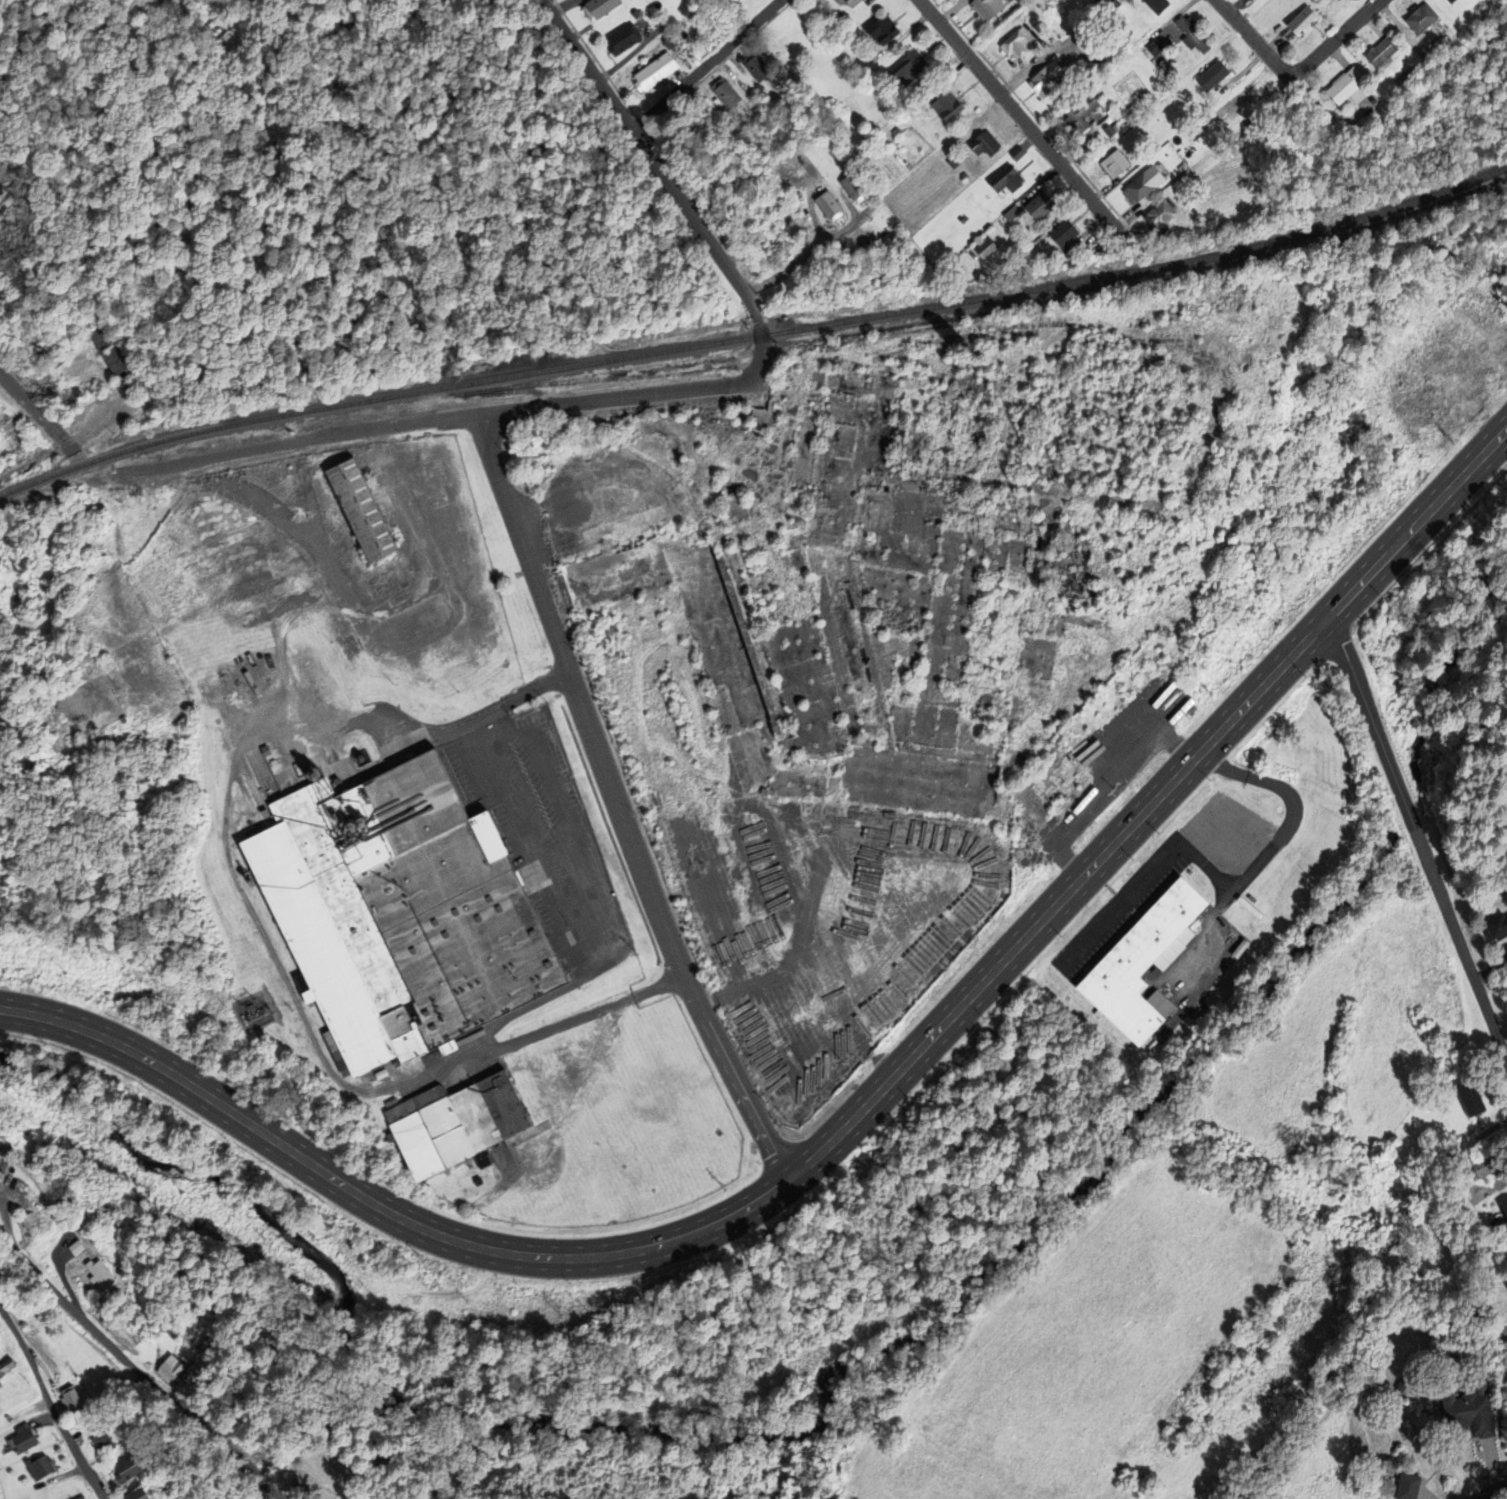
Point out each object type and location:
building: (1335, 0)
building: (733, 1)
building: (1448, 1)
building: (845, 3)
building: (595, 8)
building: (983, 9)
building: (1417, 20)
building: (1299, 23)
building: (878, 31)
building: (1190, 37)
building: (620, 40)
road: (1248, 41)
road: (1331, 41)
building: (1015, 45)
building: (1377, 54)
building: (1104, 55)
road: (705, 67)
building: (752, 68)
building: (905, 69)
building: (651, 73)
building: (1209, 77)
building: (1044, 81)
building: (1343, 90)
building: (722, 94)
building: (943, 107)
building: (1077, 116)
road: (1018, 120)
building: (981, 146)
building: (1111, 165)
building: (1003, 182)
building: (850, 190)
building: (1135, 190)
building: (825, 206)
building: (1035, 208)
building: (1156, 219)
building: (1058, 235)
road: (814, 251)
building: (1503, 288)
railway: (754, 337)
building: (105, 349)
road: (35, 409)
building: (762, 417)
road: (294, 441)
road: (493, 462)
building: (357, 509)
building: (1072, 569)
building: (60, 652)
river: (1439, 656)
building: (78, 708)
river: (1401, 796)
road: (1412, 823)
building: (397, 912)
building: (1494, 926)
building: (1136, 963)
power substation: (254, 1011)
road: (598, 1011)
crop: (1409, 1022)
road: (1500, 1044)
building: (1467, 1099)
road: (846, 1119)
building: (450, 1123)
building: (1483, 1165)
building: (1503, 1210)
building: (1399, 1260)
building: (97, 1275)
building: (1505, 1283)
building: (125, 1325)
crop: (1086, 1356)
building: (4, 1364)
building: (167, 1369)
road: (137, 1370)
building: (1400, 1385)
building: (66, 1398)
road: (50, 1404)
building: (1468, 1410)
river: (750, 1435)
building: (18, 1441)
building: (98, 1444)
building: (36, 1468)
building: (123, 1468)
building: (1406, 1486)
road: (1495, 1491)
building: (131, 1494)
building: (79, 1498)

